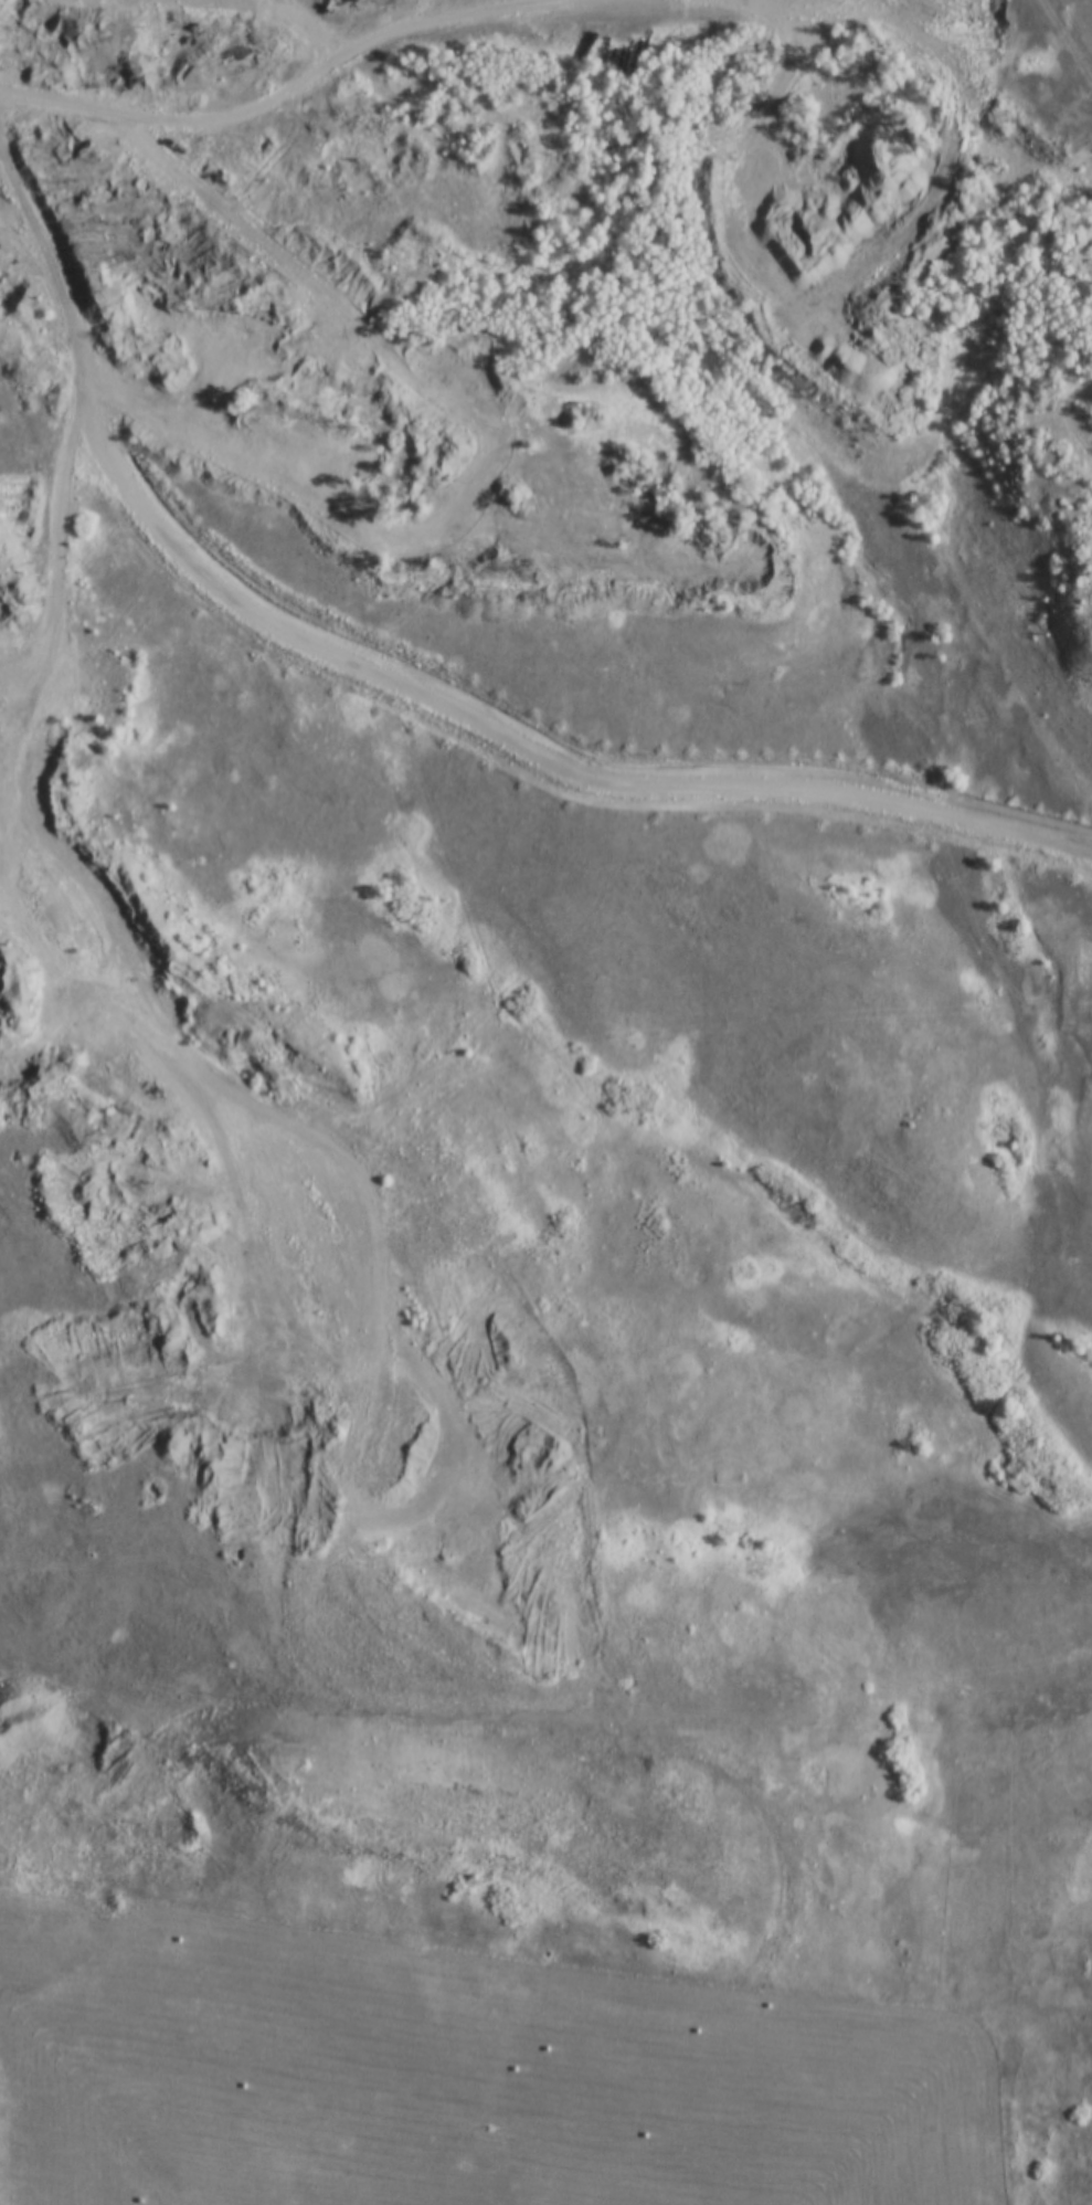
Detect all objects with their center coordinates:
road: (929, 23)
road: (1070, 33)
road: (74, 38)
road: (114, 205)
building: (269, 295)
road: (548, 379)
road: (1064, 413)
road: (18, 727)
road: (479, 731)
quarry: (96, 920)

